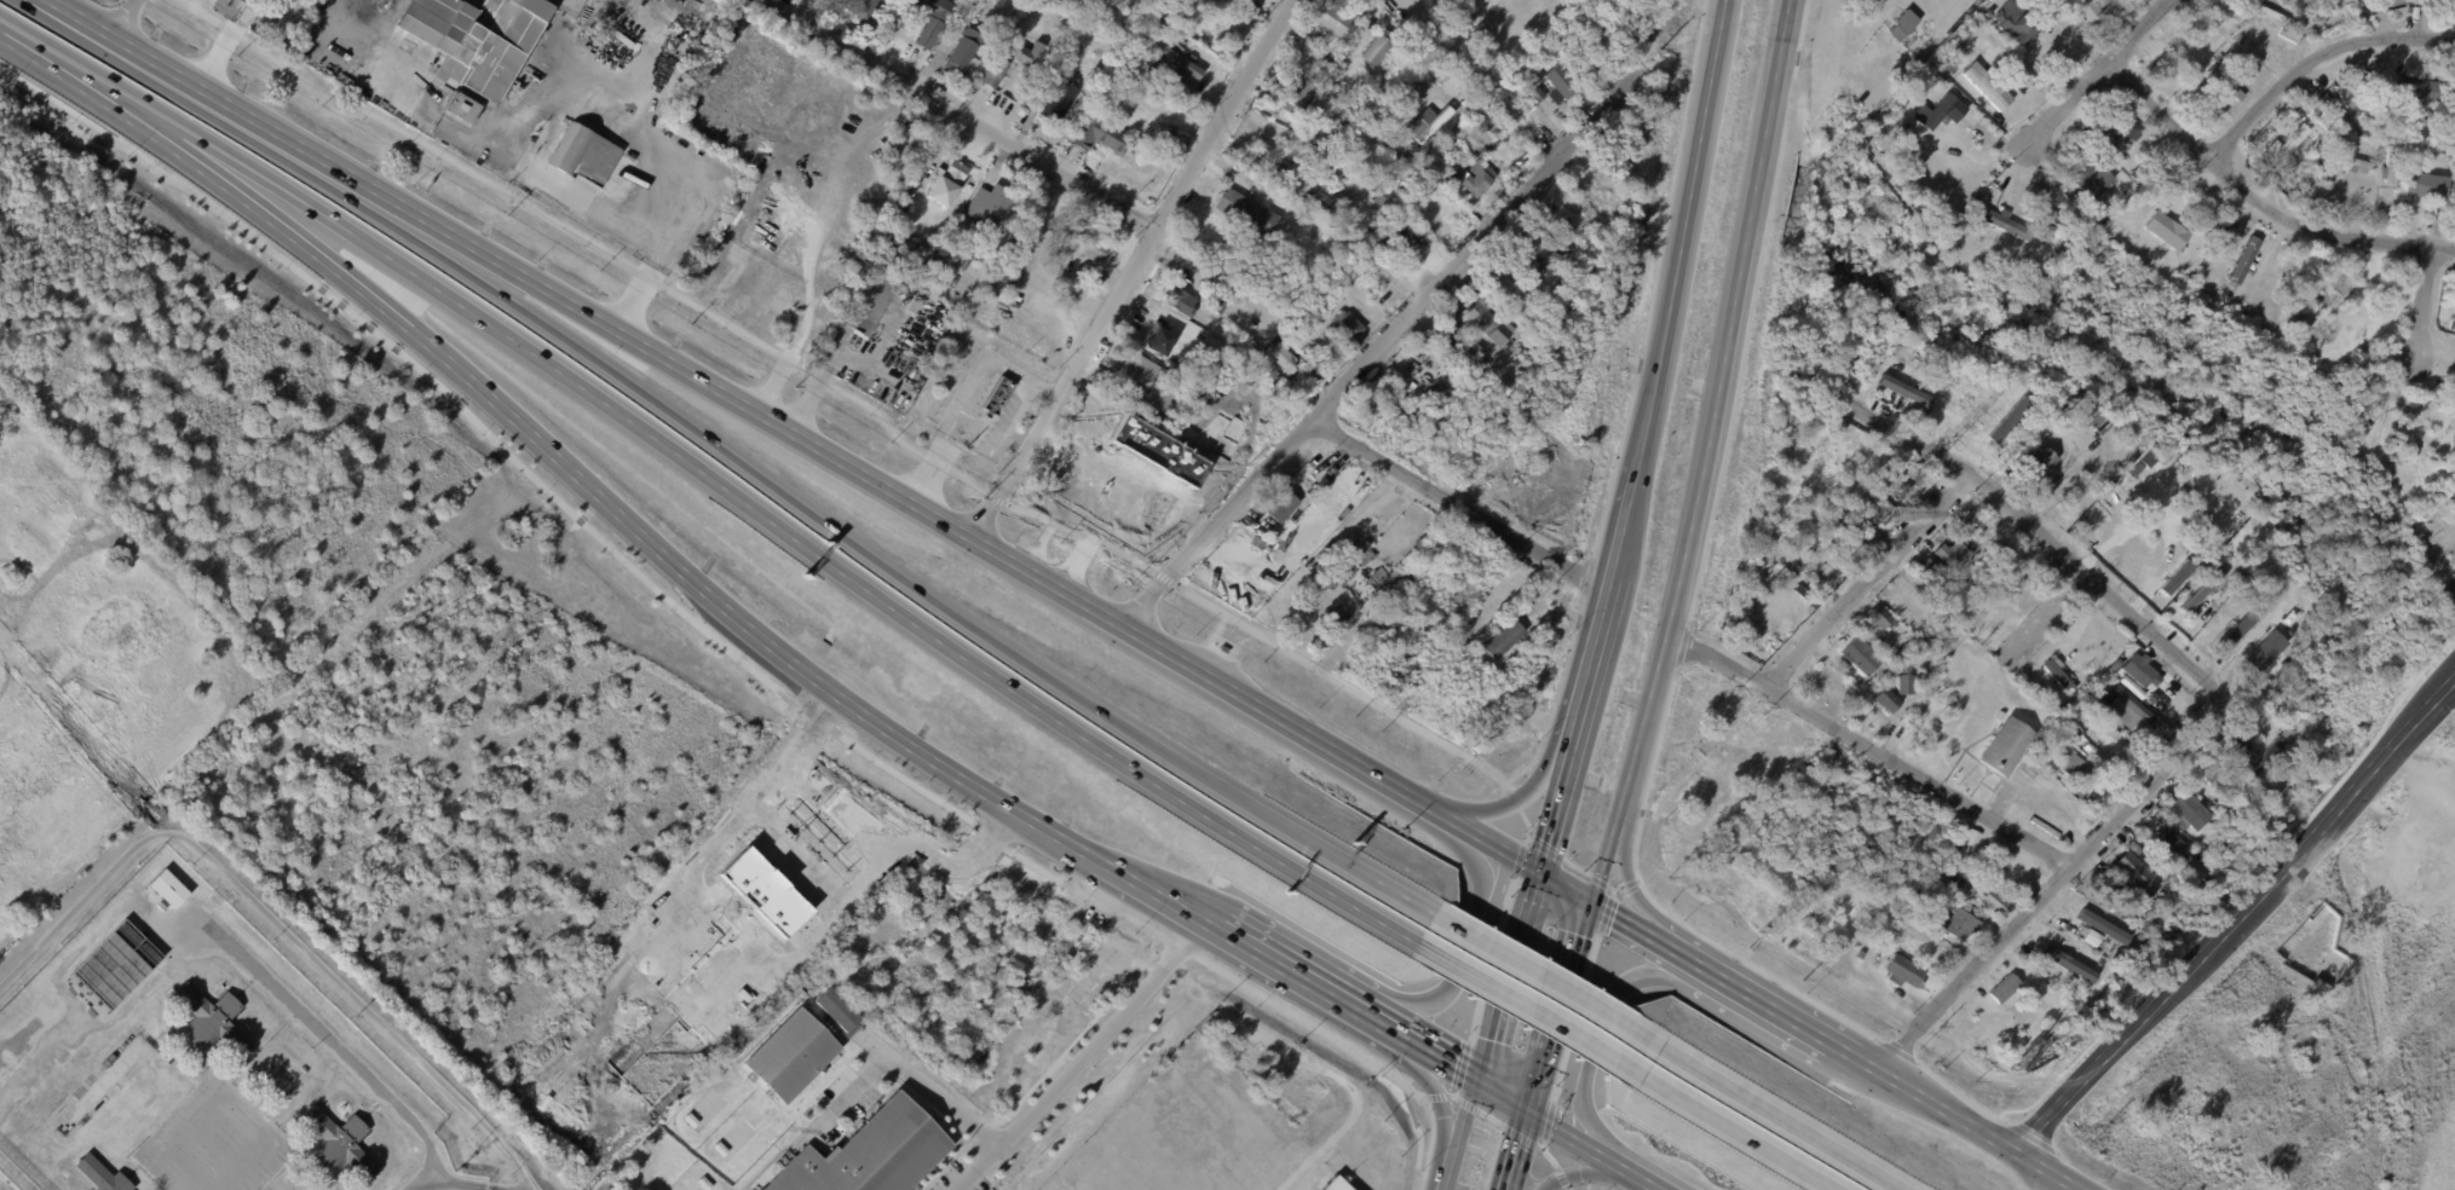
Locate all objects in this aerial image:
building: (1257, 0)
building: (2415, 0)
building: (1080, 1)
building: (2103, 4)
building: (227, 7)
building: (860, 8)
building: (2411, 10)
building: (270, 17)
road: (120, 19)
building: (1333, 19)
building: (934, 22)
building: (996, 23)
road: (1470, 23)
building: (2012, 24)
building: (1901, 25)
road: (1427, 28)
building: (1973, 28)
road: (0, 30)
building: (2287, 36)
building: (2238, 39)
building: (479, 40)
building: (1076, 40)
road: (943, 45)
building: (1829, 46)
building: (1379, 48)
building: (964, 51)
building: (2217, 59)
road: (2315, 60)
building: (998, 67)
building: (1181, 67)
building: (2243, 67)
building: (1947, 68)
building: (1585, 69)
building: (1846, 70)
building: (1338, 71)
road: (2093, 74)
building: (2021, 77)
road: (77, 80)
building: (1557, 82)
building: (2365, 82)
building: (1457, 85)
building: (2223, 85)
building: (1984, 86)
building: (1934, 92)
building: (2413, 92)
building: (1292, 96)
building: (2344, 99)
building: (1060, 100)
building: (1659, 100)
building: (1852, 105)
building: (2448, 108)
building: (2324, 109)
building: (465, 110)
building: (1934, 111)
road: (531, 112)
building: (1344, 112)
building: (1960, 112)
road: (958, 115)
building: (2431, 119)
road: (634, 121)
building: (1430, 123)
building: (2321, 123)
building: (1489, 125)
building: (2340, 126)
building: (2116, 127)
building: (1097, 135)
building: (2378, 135)
building: (1649, 138)
road: (485, 143)
building: (1131, 143)
building: (2375, 143)
road: (1549, 145)
building: (1326, 146)
building: (2288, 146)
building: (2449, 156)
building: (592, 158)
building: (1268, 161)
road: (325, 166)
building: (2352, 166)
building: (2386, 166)
building: (1480, 175)
road: (261, 177)
building: (2134, 177)
building: (2088, 180)
building: (947, 183)
building: (2422, 187)
building: (1027, 191)
building: (1332, 200)
road: (2258, 201)
building: (989, 208)
building: (1247, 212)
building: (2099, 214)
building: (1441, 219)
building: (2038, 221)
building: (2002, 225)
road: (1683, 227)
building: (2163, 231)
building: (1036, 232)
building: (2084, 232)
building: (1090, 247)
building: (947, 249)
building: (929, 250)
building: (941, 258)
building: (1008, 258)
building: (2243, 261)
building: (2278, 265)
road: (342, 270)
building: (1015, 270)
building: (938, 272)
road: (1133, 272)
building: (2188, 281)
building: (1005, 283)
building: (1382, 288)
building: (1509, 289)
road: (638, 294)
building: (2330, 294)
building: (870, 302)
building: (1182, 302)
road: (2422, 304)
building: (1218, 306)
building: (2238, 310)
building: (1487, 319)
building: (1254, 324)
building: (1349, 324)
building: (1160, 339)
building: (1528, 341)
building: (1463, 346)
road: (1379, 352)
road: (587, 353)
building: (1819, 353)
building: (1284, 356)
building: (1140, 371)
road: (826, 376)
building: (1515, 376)
building: (1903, 391)
building: (1160, 393)
road: (589, 394)
road: (964, 398)
building: (1136, 404)
building: (2090, 409)
building: (991, 412)
building: (2373, 414)
road: (760, 418)
building: (1445, 421)
building: (2357, 426)
building: (2414, 440)
road: (1702, 456)
building: (1900, 460)
building: (2034, 466)
building: (2390, 468)
road: (1124, 479)
building: (1324, 484)
building: (2454, 493)
building: (1285, 507)
road: (1463, 507)
building: (2071, 510)
road: (1626, 522)
building: (1971, 526)
airport: (161, 535)
road: (2039, 535)
building: (1948, 554)
building: (1367, 556)
road: (995, 558)
building: (1977, 561)
building: (1474, 562)
building: (1774, 562)
building: (1821, 570)
building: (1352, 572)
building: (1924, 572)
building: (1381, 576)
building: (2173, 577)
road: (1867, 578)
building: (2447, 588)
building: (2198, 591)
building: (1803, 593)
building: (1312, 599)
building: (2217, 608)
building: (1339, 618)
building: (1878, 618)
building: (1944, 625)
building: (1498, 639)
building: (1857, 655)
road: (794, 659)
building: (2111, 669)
building: (1463, 670)
building: (2138, 670)
road: (1591, 671)
building: (1414, 672)
road: (756, 675)
building: (2057, 675)
building: (1919, 677)
building: (1903, 684)
building: (1885, 700)
building: (2132, 706)
road: (1260, 711)
building: (1996, 715)
building: (2102, 734)
building: (2238, 746)
building: (2002, 747)
road: (1869, 750)
road: (1110, 756)
building: (2261, 758)
building: (2208, 774)
building: (2075, 775)
road: (1514, 803)
road: (1246, 804)
road: (1517, 807)
road: (1549, 811)
building: (2184, 811)
road: (1453, 826)
building: (1965, 844)
building: (2165, 845)
road: (1499, 854)
road: (1569, 865)
building: (2128, 867)
building: (1946, 870)
traffic signals: (1531, 872)
road: (1625, 880)
road: (1633, 883)
building: (169, 888)
road: (1560, 889)
road: (2051, 890)
road: (1158, 891)
road: (1400, 895)
building: (1920, 896)
building: (1938, 900)
building: (1988, 901)
traffic signals: (1590, 906)
building: (2082, 912)
road: (2230, 917)
road: (275, 920)
road: (1619, 923)
building: (1879, 925)
building: (1955, 925)
building: (207, 926)
building: (2104, 930)
building: (204, 935)
building: (2088, 936)
building: (1917, 949)
road: (1465, 954)
road: (1673, 955)
building: (117, 963)
road: (1296, 972)
building: (1898, 972)
road: (1503, 975)
road: (1545, 981)
building: (2002, 989)
building: (2032, 1005)
road: (1558, 1006)
building: (836, 1009)
road: (1528, 1011)
building: (213, 1019)
road: (1786, 1022)
road: (1598, 1026)
road: (1389, 1028)
building: (831, 1036)
road: (329, 1039)
road: (1078, 1055)
building: (1243, 1056)
road: (1441, 1058)
building: (283, 1071)
building: (1228, 1079)
traffic signals: (1475, 1079)
road: (923, 1087)
building: (768, 1090)
building: (1321, 1090)
road: (1345, 1090)
road: (1500, 1093)
road: (845, 1096)
road: (1436, 1099)
traffic signals: (1526, 1108)
road: (1779, 1119)
road: (1460, 1122)
road: (1561, 1128)
road: (1971, 1132)
road: (1737, 1133)
building: (340, 1142)
building: (1270, 1143)
building: (1378, 1145)
road: (1514, 1148)
traffic signals: (1514, 1153)
building: (870, 1154)
building: (1260, 1154)
road: (1610, 1157)
building: (1252, 1168)
building: (1362, 1171)
road: (1577, 1172)
building: (103, 1174)
building: (1235, 1174)
road: (1446, 1178)
road: (1644, 1178)
building: (1217, 1182)
road: (420, 1183)
road: (468, 1183)
building: (1333, 1184)
building: (1210, 1188)

